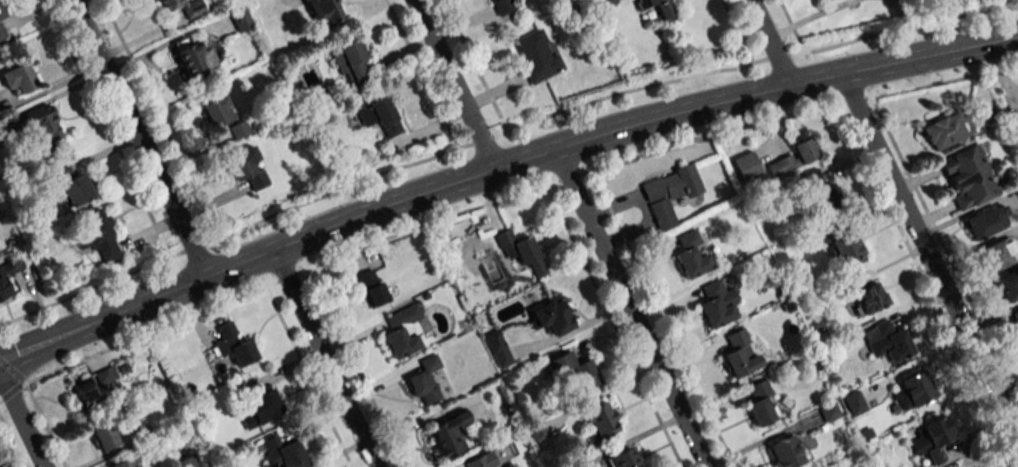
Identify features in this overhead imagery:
building: (823, 0)
building: (606, 3)
building: (504, 5)
building: (184, 6)
building: (660, 9)
building: (324, 12)
building: (1, 13)
building: (240, 19)
building: (1, 33)
road: (770, 41)
building: (537, 55)
building: (192, 56)
building: (350, 62)
building: (18, 79)
road: (453, 83)
road: (686, 106)
building: (217, 111)
building: (379, 116)
building: (1014, 122)
building: (41, 124)
building: (239, 129)
building: (946, 130)
road: (138, 136)
building: (794, 158)
building: (746, 166)
building: (247, 168)
building: (968, 176)
building: (70, 186)
building: (1016, 188)
building: (821, 189)
building: (668, 193)
road: (498, 199)
building: (987, 221)
building: (95, 235)
building: (842, 244)
road: (944, 250)
building: (518, 251)
building: (998, 254)
building: (691, 255)
road: (929, 256)
road: (181, 282)
building: (1008, 283)
building: (3, 285)
road: (925, 285)
building: (371, 287)
building: (865, 295)
building: (716, 303)
road: (629, 306)
building: (550, 316)
building: (1015, 318)
building: (402, 331)
building: (892, 341)
building: (233, 345)
building: (497, 348)
building: (739, 354)
road: (324, 356)
building: (572, 372)
building: (104, 376)
building: (425, 382)
building: (913, 390)
building: (84, 394)
building: (854, 402)
building: (760, 403)
building: (264, 405)
building: (600, 420)
road: (21, 423)
building: (449, 435)
building: (104, 436)
building: (932, 439)
building: (283, 452)
building: (785, 453)
building: (621, 459)
building: (482, 461)
building: (125, 462)

